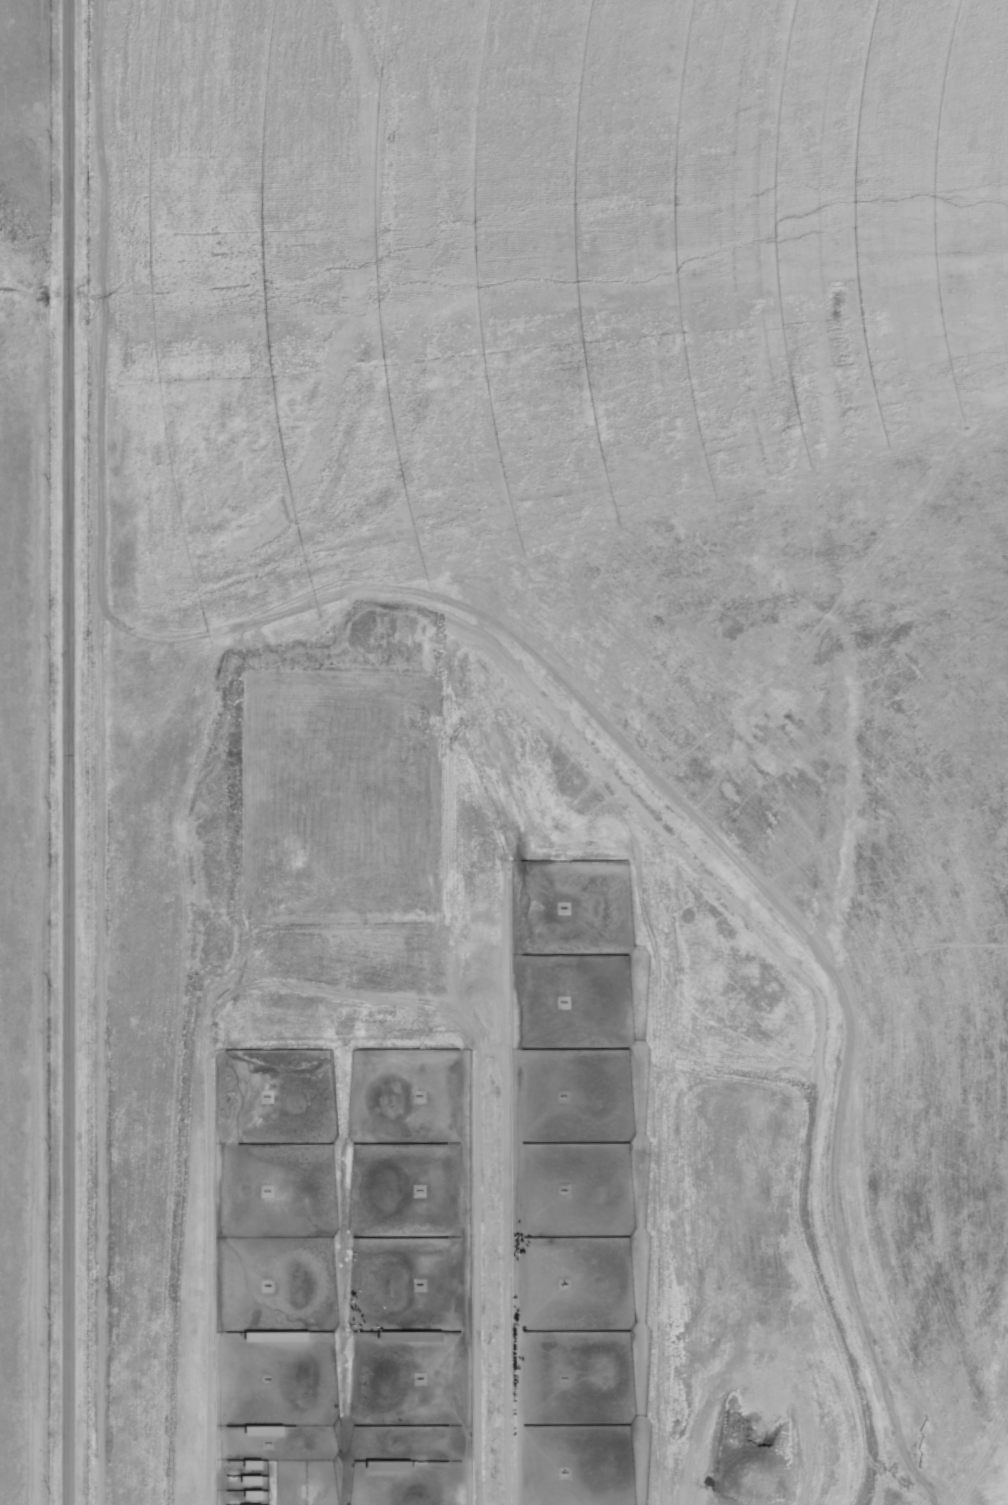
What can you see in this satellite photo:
road: (70, 752)
road: (492, 1049)
building: (276, 1335)
building: (264, 1430)
building: (253, 1464)
building: (389, 1464)
building: (252, 1479)
building: (253, 1494)
building: (250, 1504)

